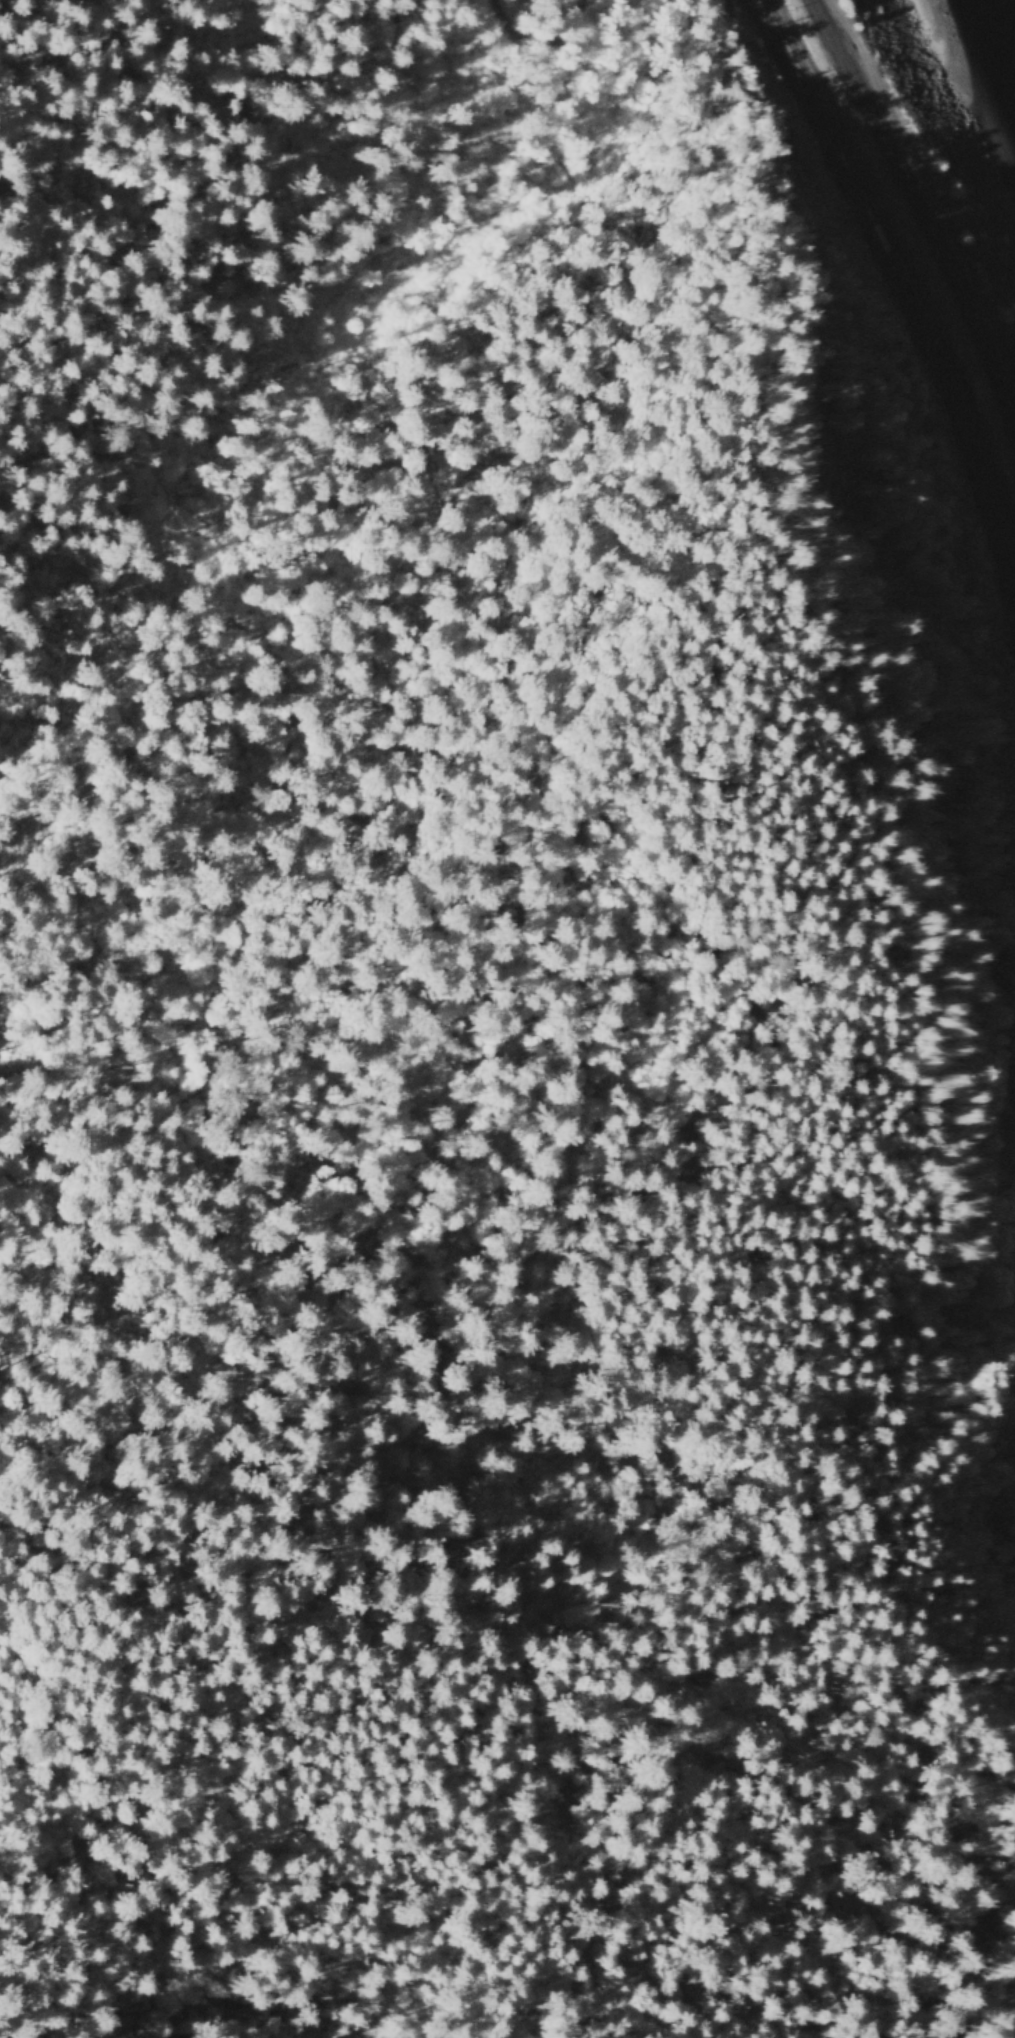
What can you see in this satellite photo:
railway: (920, 213)
road: (907, 275)
road: (382, 1140)

